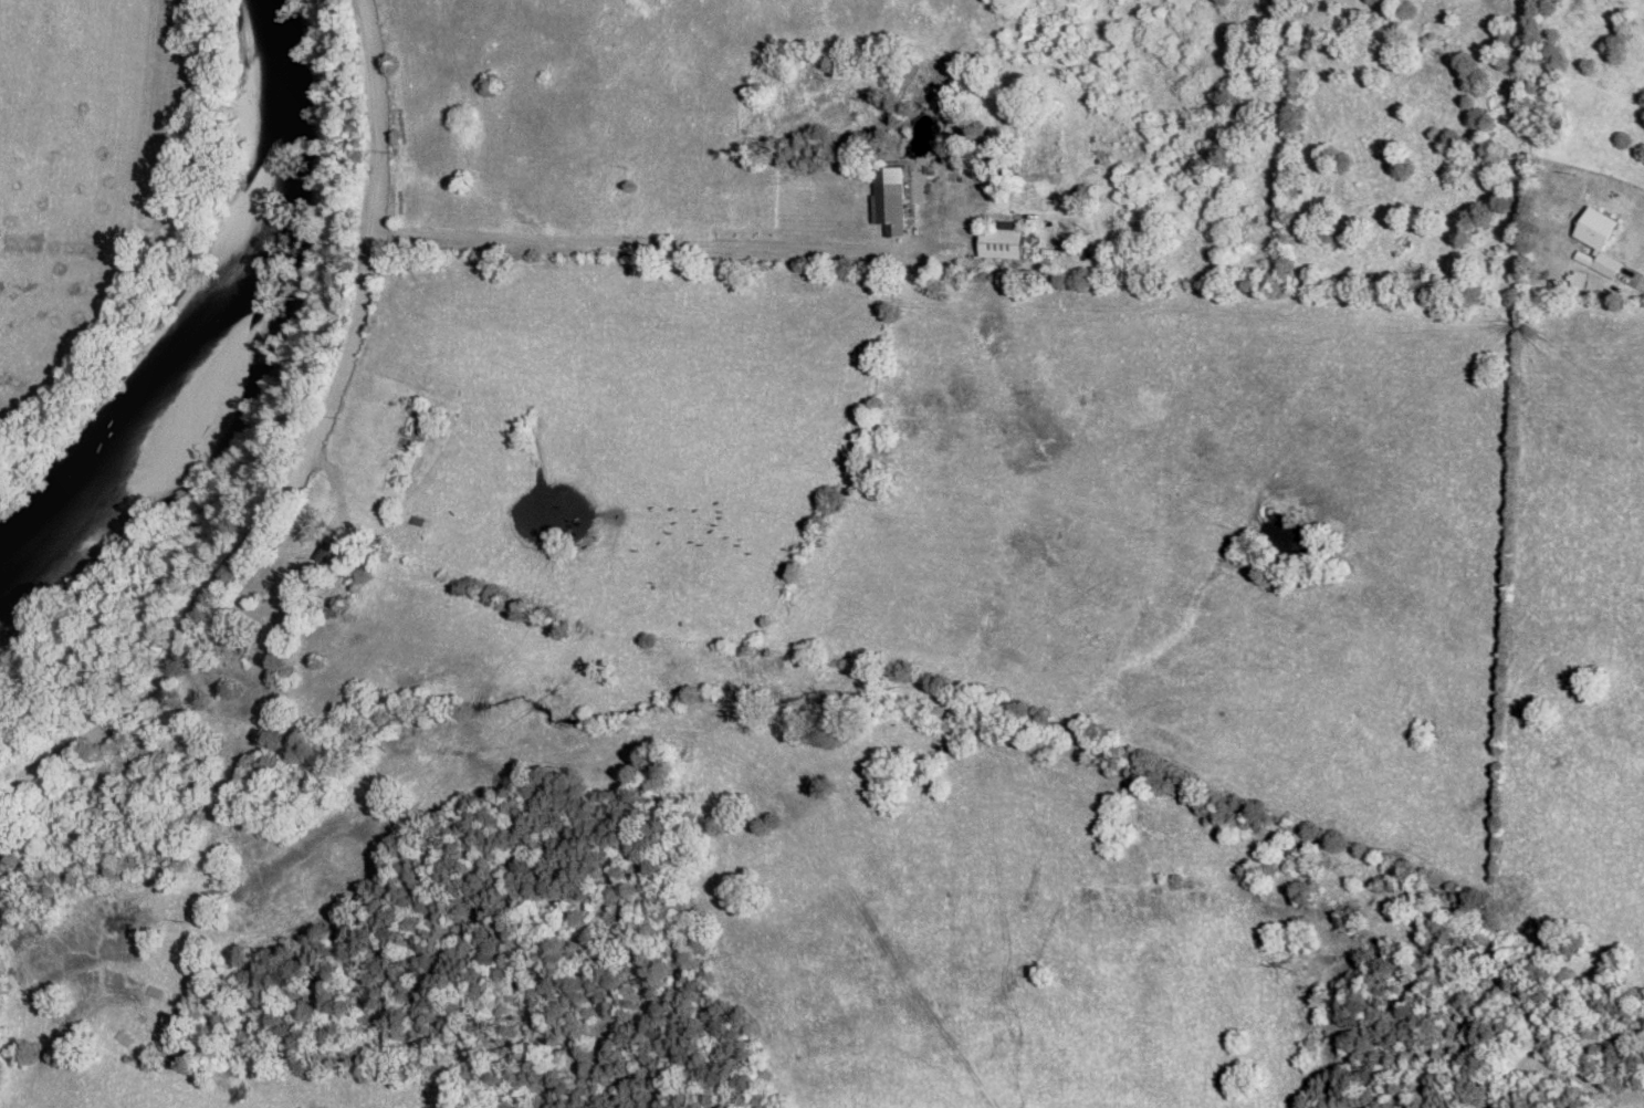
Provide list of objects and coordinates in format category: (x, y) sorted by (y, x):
road: (1532, 117)
building: (888, 199)
building: (1599, 239)
road: (650, 240)
building: (1002, 242)
river: (212, 325)
road: (317, 478)
road: (583, 770)
road: (1606, 882)

